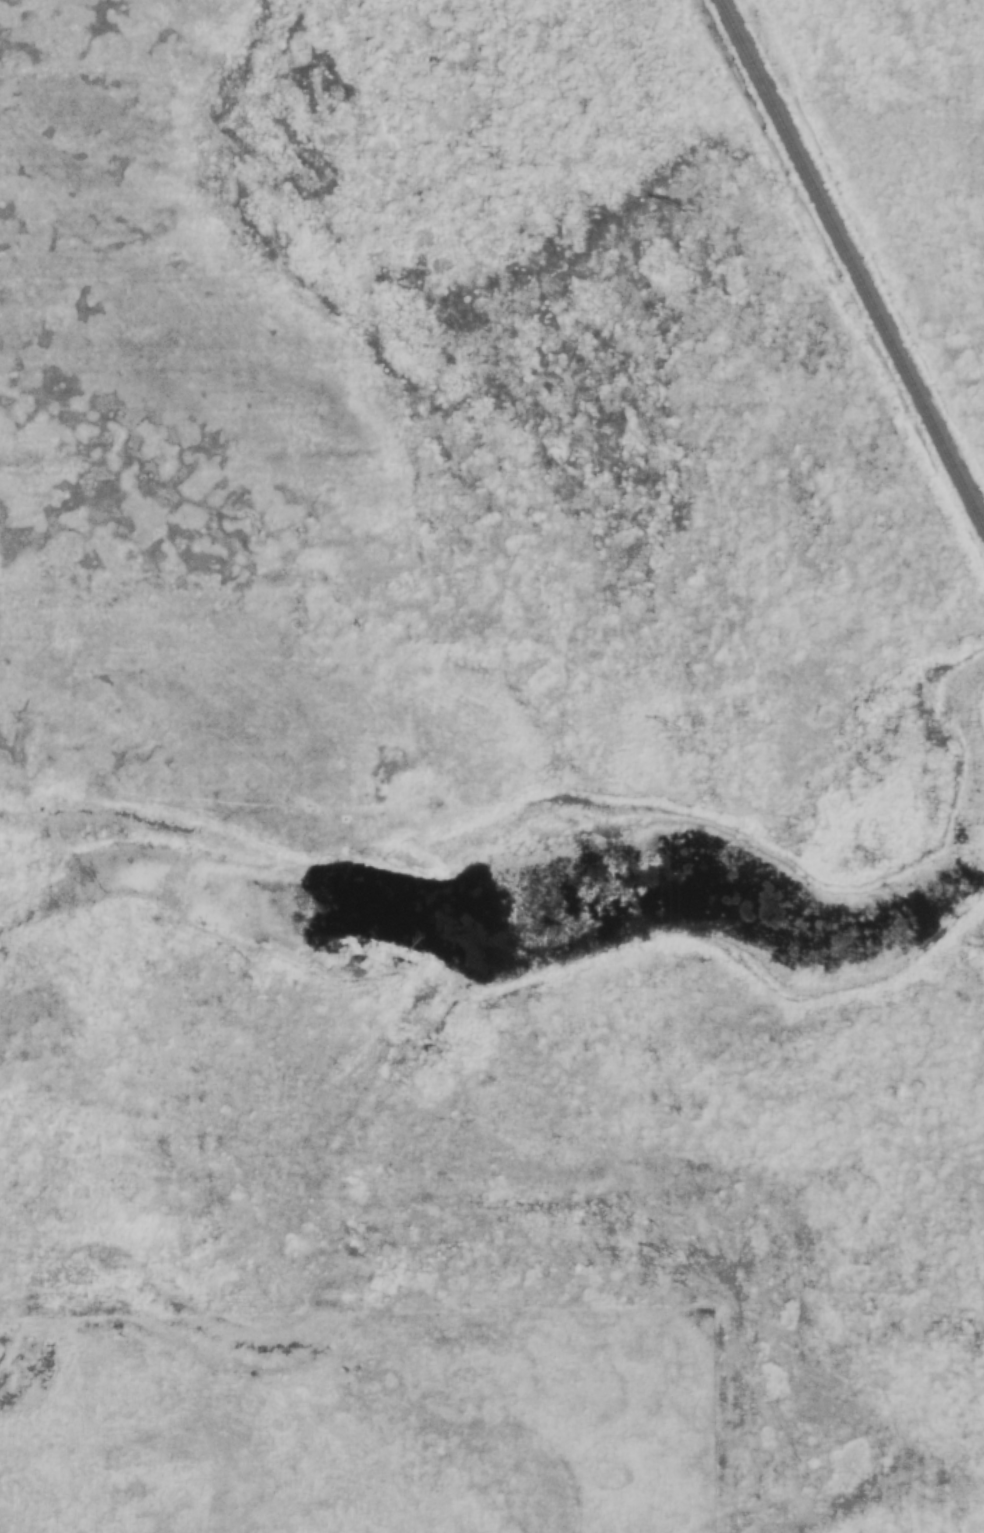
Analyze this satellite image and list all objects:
power tower: (687, 210)
railway: (853, 260)
power tower: (681, 730)
power tower: (675, 1258)
road: (690, 1495)

